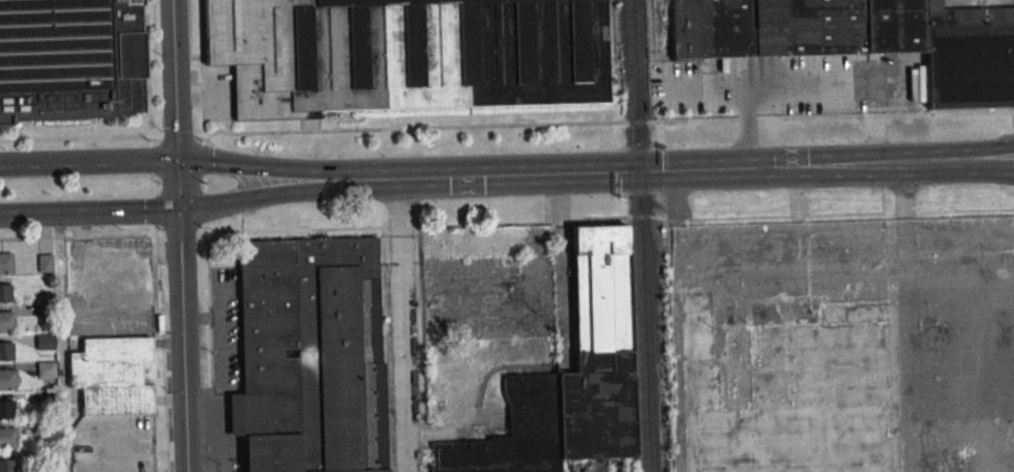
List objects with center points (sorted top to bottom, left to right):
building: (795, 28)
building: (408, 55)
building: (70, 59)
building: (970, 66)
road: (202, 71)
road: (819, 84)
road: (747, 87)
road: (414, 129)
road: (987, 155)
traffic signals: (180, 161)
road: (191, 161)
road: (877, 163)
road: (984, 164)
road: (21, 165)
road: (1011, 168)
road: (566, 173)
road: (205, 182)
road: (171, 210)
traffic signals: (180, 210)
road: (181, 235)
railway: (645, 235)
road: (104, 236)
railway: (635, 236)
building: (6, 263)
building: (6, 292)
building: (6, 320)
road: (402, 325)
building: (45, 341)
road: (60, 343)
road: (211, 346)
building: (6, 351)
building: (599, 351)
building: (309, 356)
building: (46, 370)
building: (113, 374)
building: (7, 379)
building: (7, 409)
building: (514, 433)
building: (8, 437)
building: (7, 465)

